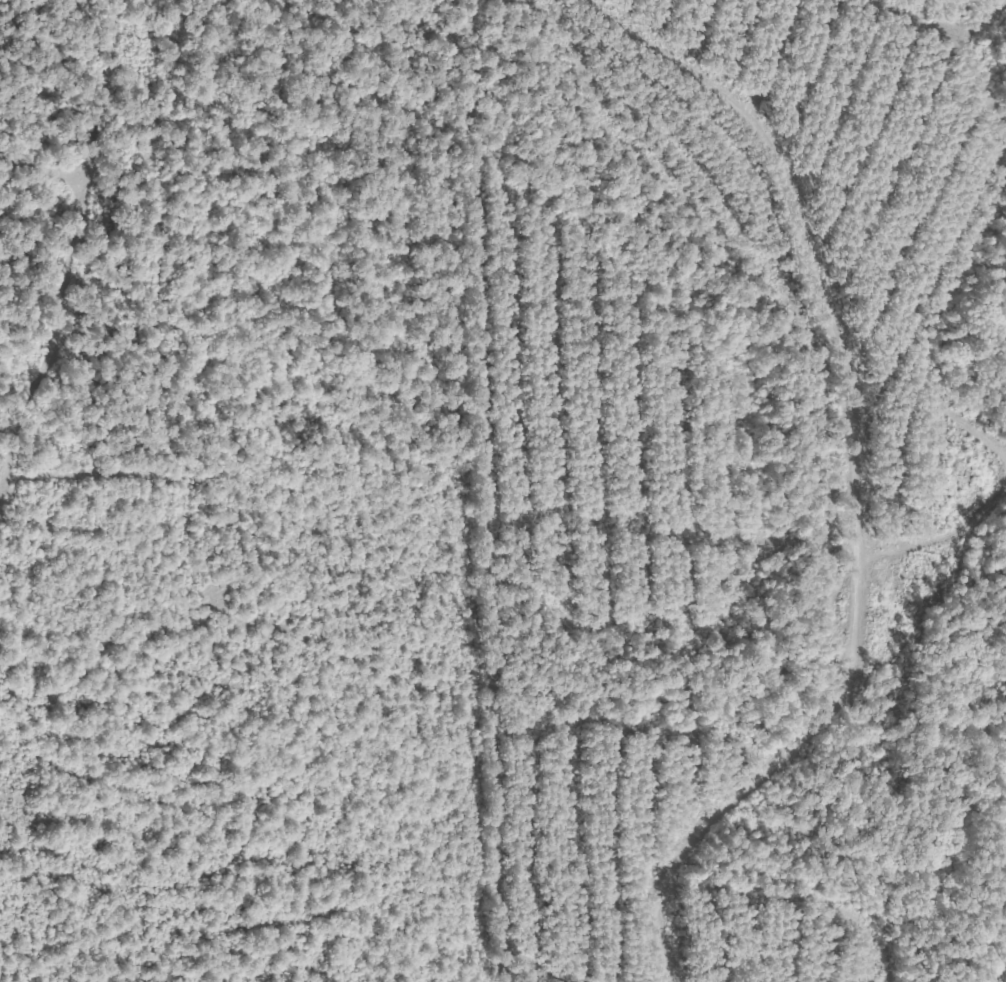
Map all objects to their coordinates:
road: (862, 465)

